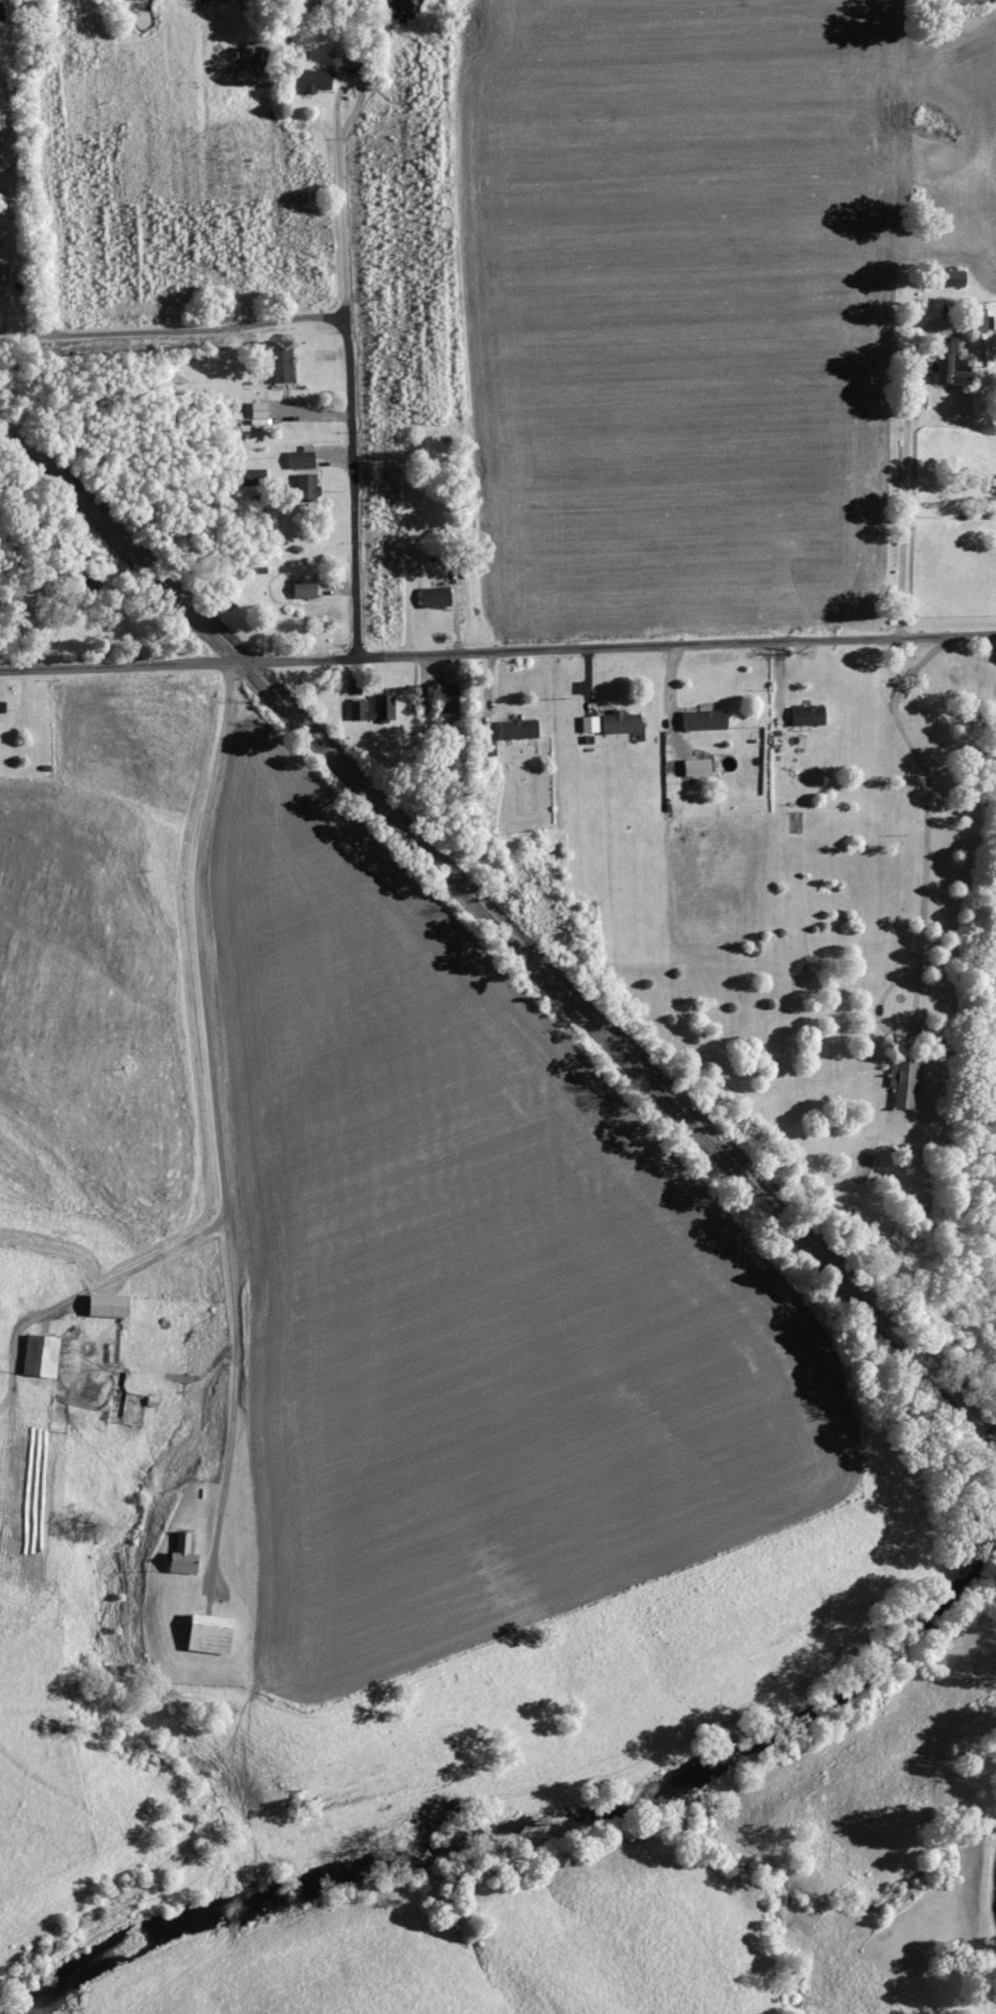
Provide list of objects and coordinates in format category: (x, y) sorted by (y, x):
building: (315, 81)
building: (3, 259)
road: (180, 330)
building: (283, 366)
building: (955, 367)
road: (349, 374)
building: (260, 409)
building: (302, 459)
building: (306, 486)
road: (903, 496)
building: (306, 590)
building: (438, 596)
road: (497, 650)
road: (670, 702)
building: (450, 704)
building: (370, 708)
building: (806, 716)
building: (705, 720)
building: (622, 722)
building: (591, 724)
building: (520, 729)
building: (699, 767)
road: (926, 826)
railway: (495, 922)
building: (905, 1080)
road: (217, 1120)
building: (42, 1355)
railway: (991, 1434)
building: (185, 1555)
building: (213, 1633)
river: (492, 1835)

